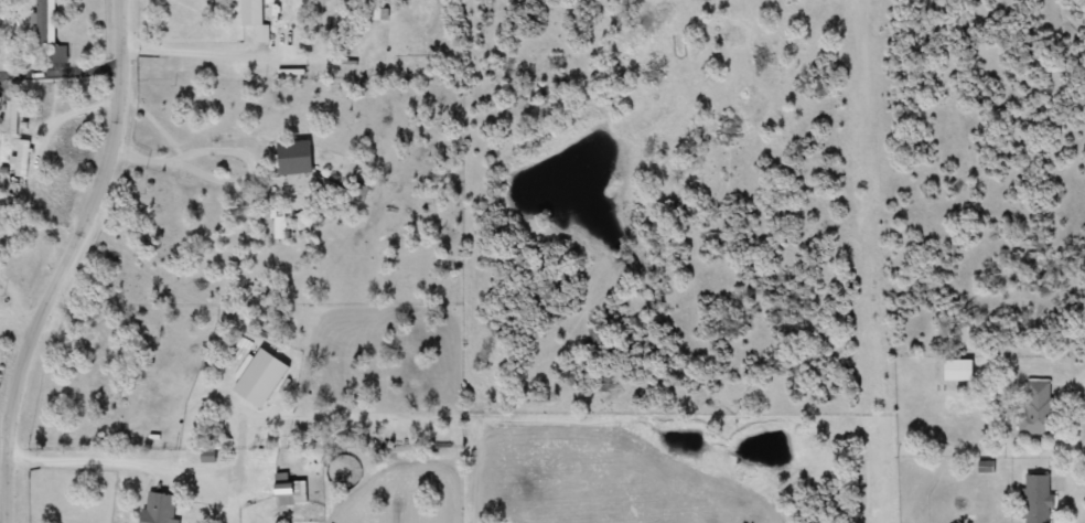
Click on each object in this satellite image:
building: (261, 20)
building: (50, 31)
road: (207, 47)
road: (61, 78)
building: (298, 158)
road: (254, 186)
building: (280, 227)
road: (67, 261)
building: (956, 370)
road: (1084, 392)
building: (1032, 408)
road: (170, 409)
road: (125, 460)
building: (292, 490)
building: (1033, 498)
building: (162, 509)

